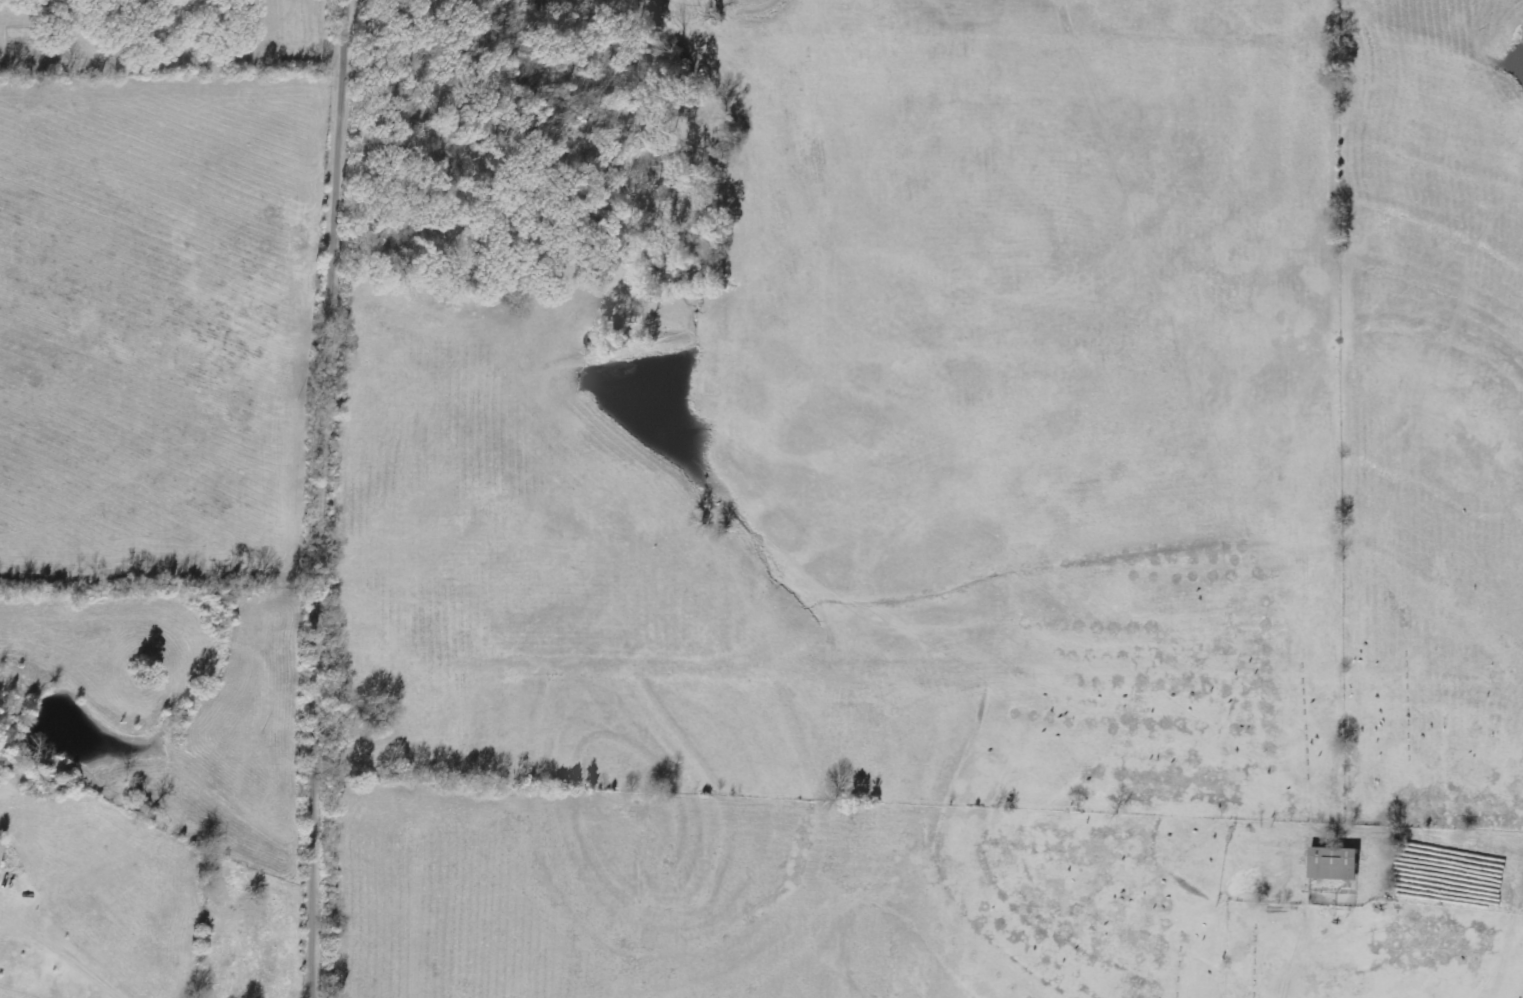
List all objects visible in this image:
road: (326, 498)
building: (0, 844)
building: (1334, 864)

